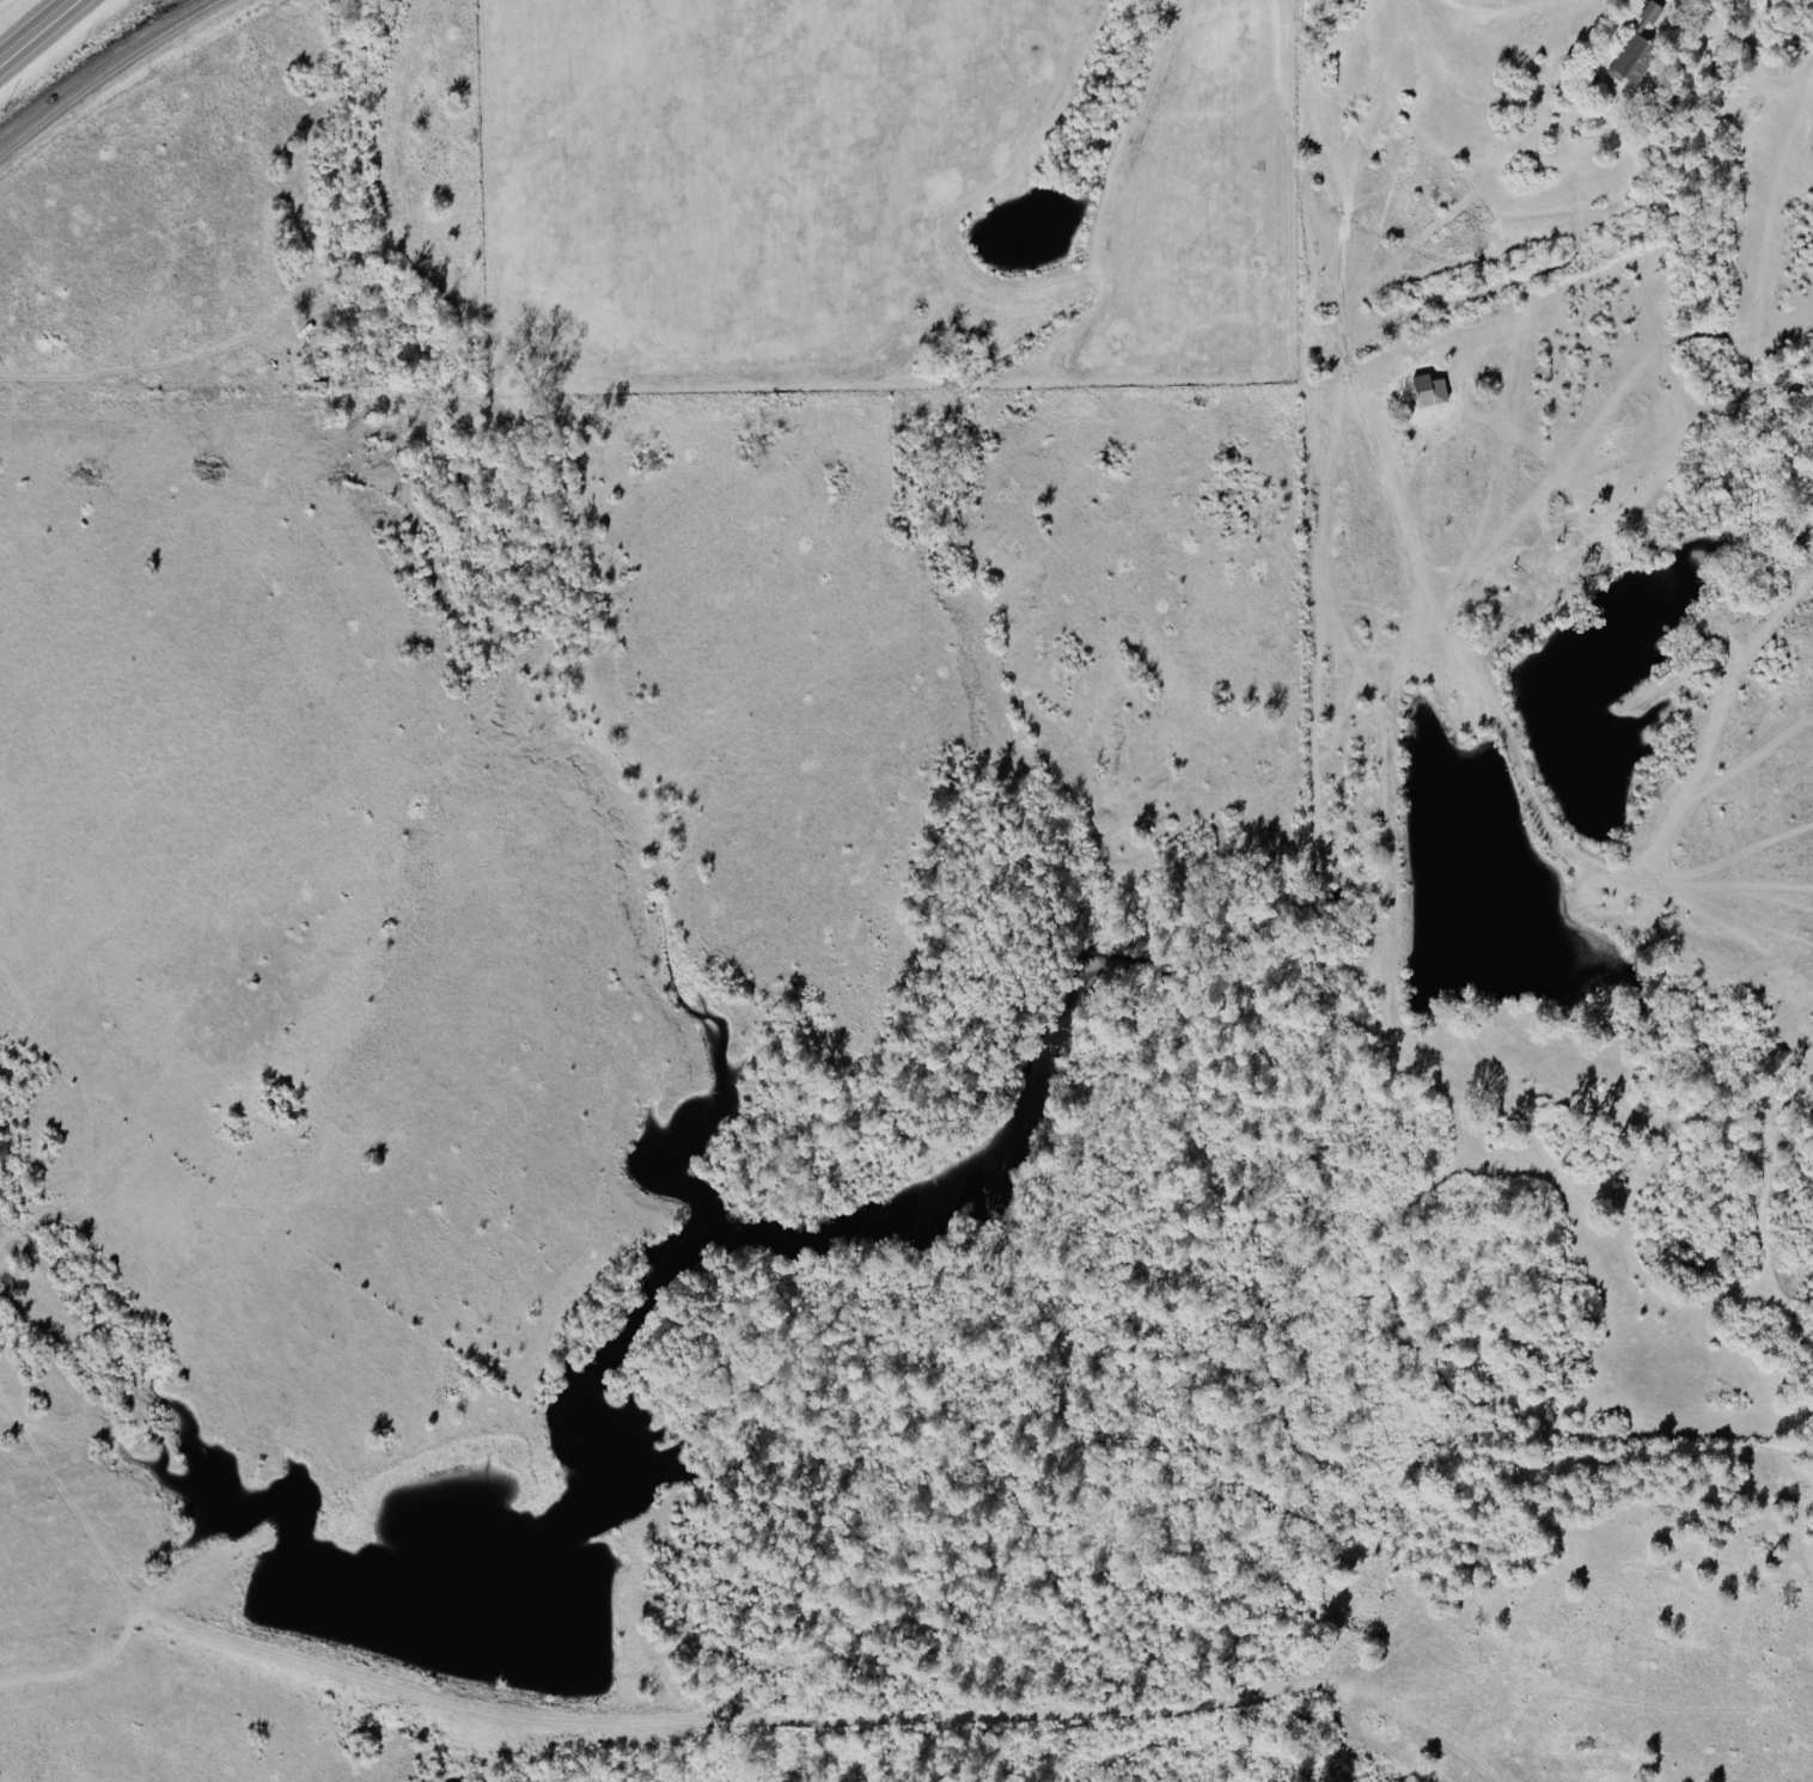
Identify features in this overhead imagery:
building: (1652, 16)
road: (35, 29)
building: (1636, 57)
railway: (103, 75)
building: (1433, 389)

